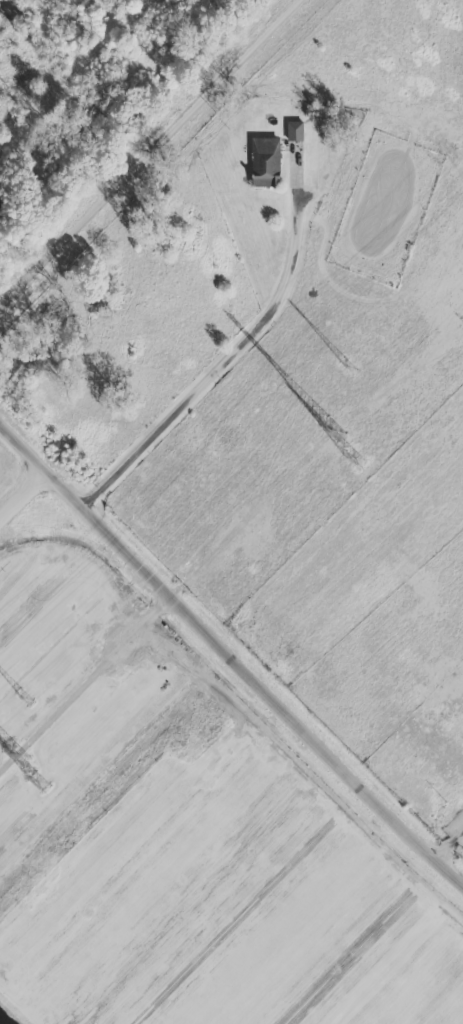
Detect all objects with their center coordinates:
building: (315, 111)
building: (294, 131)
road: (142, 147)
railway: (145, 147)
building: (265, 162)
road: (211, 367)
power tower: (346, 369)
power tower: (331, 432)
road: (23, 449)
power tower: (354, 459)
road: (23, 496)
road: (253, 684)
power tower: (26, 699)
power tower: (17, 754)
power tower: (37, 781)
road: (446, 843)

